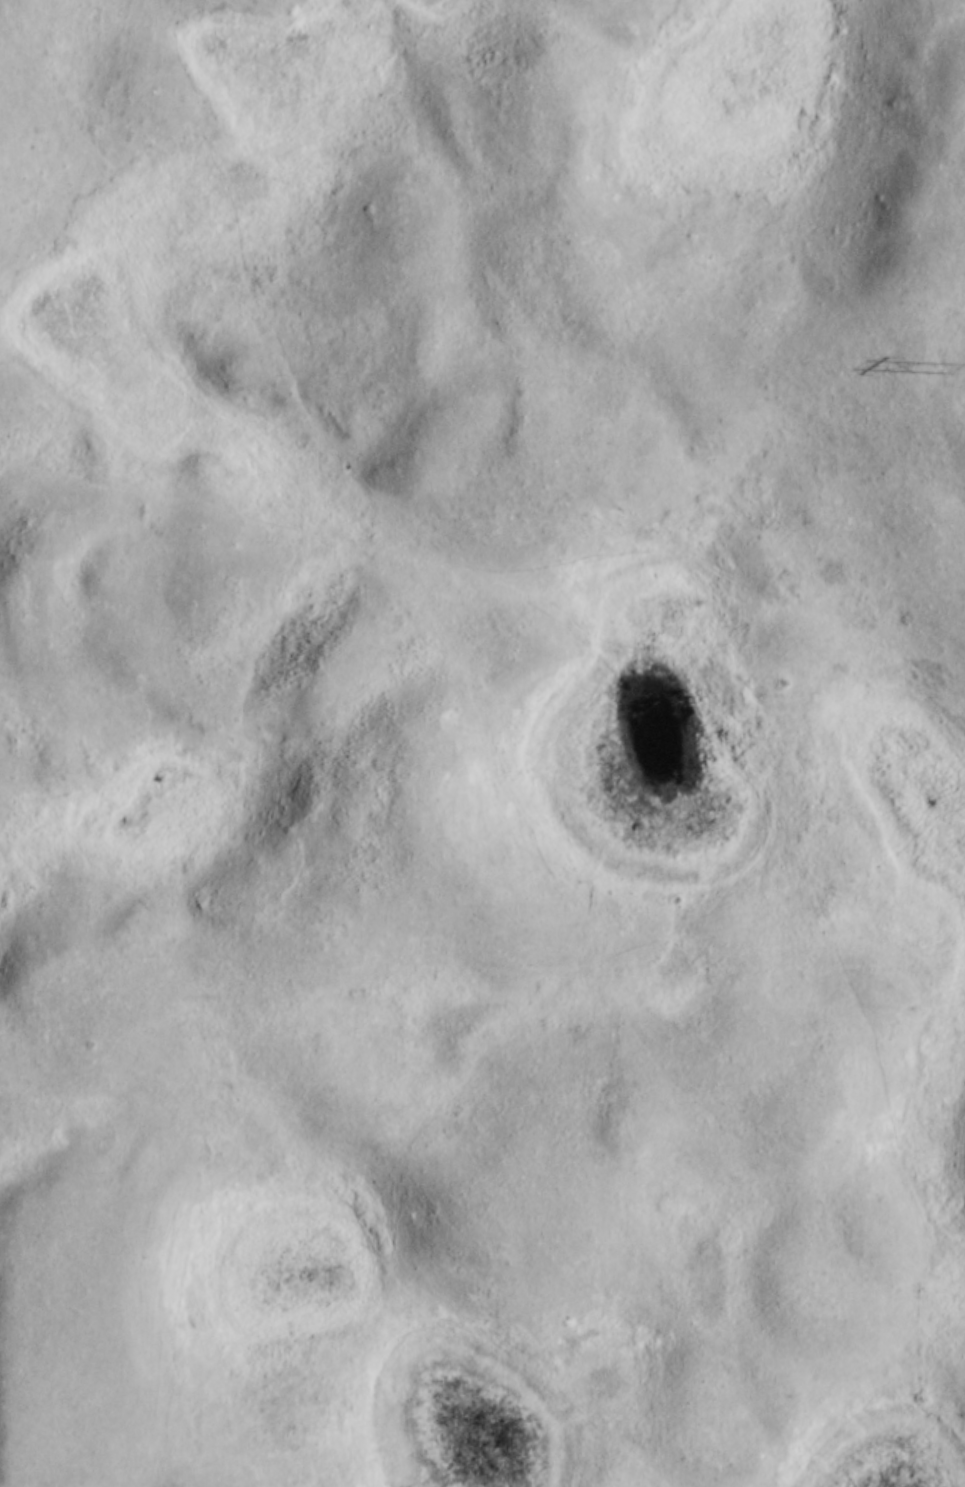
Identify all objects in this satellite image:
power tower: (946, 368)

